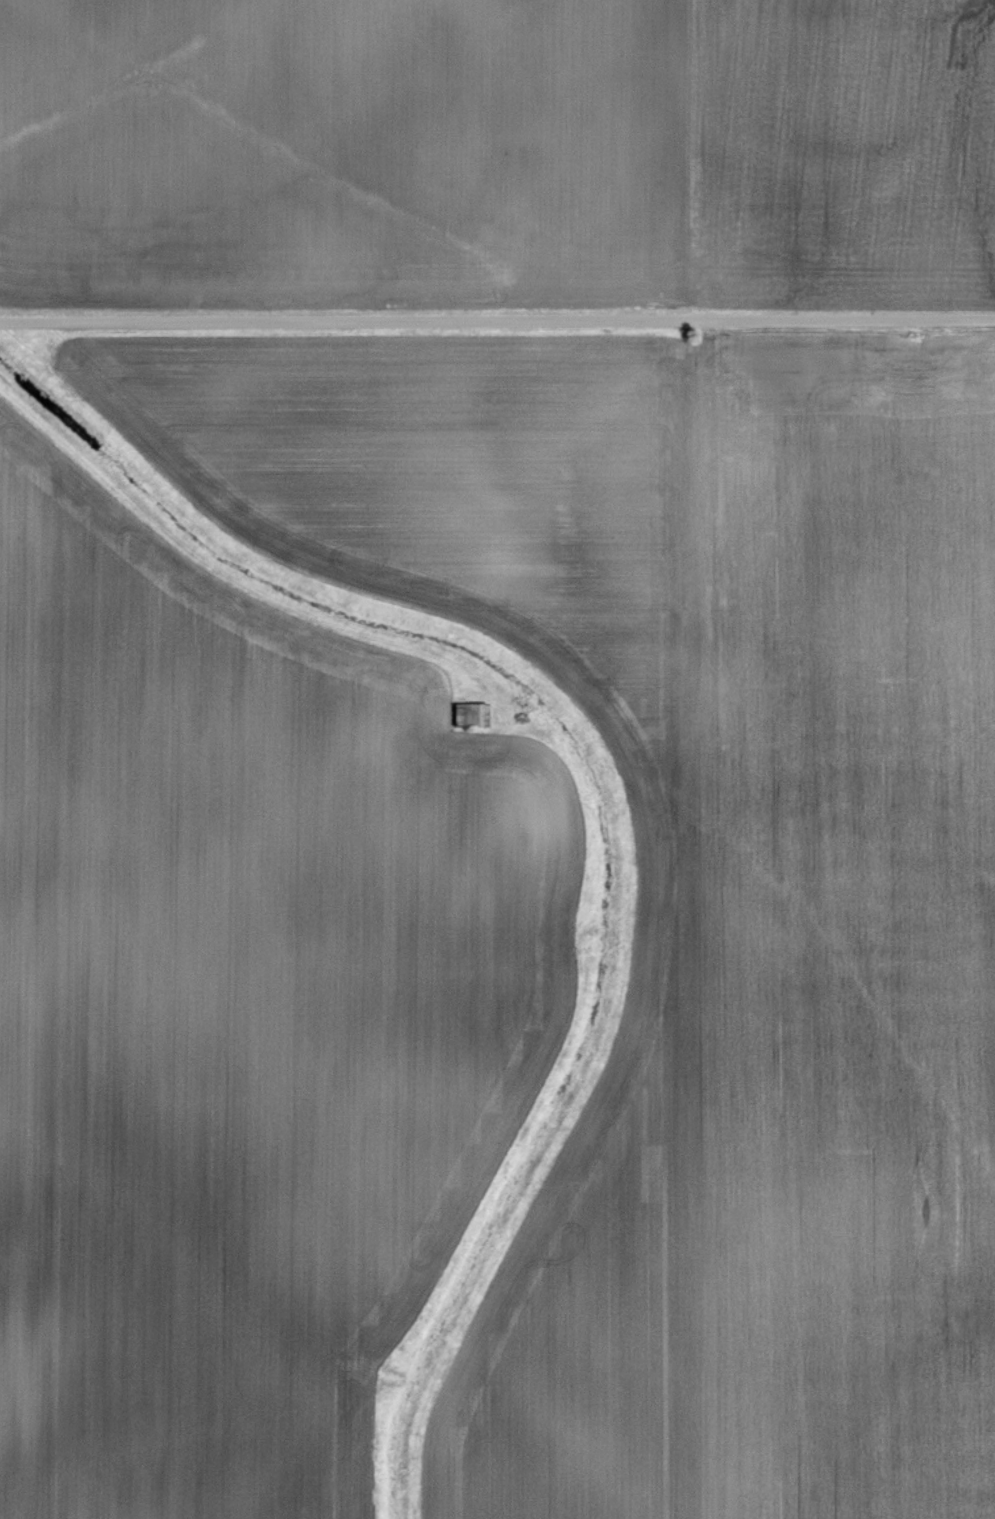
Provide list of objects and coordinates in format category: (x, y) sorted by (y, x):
road: (497, 320)

